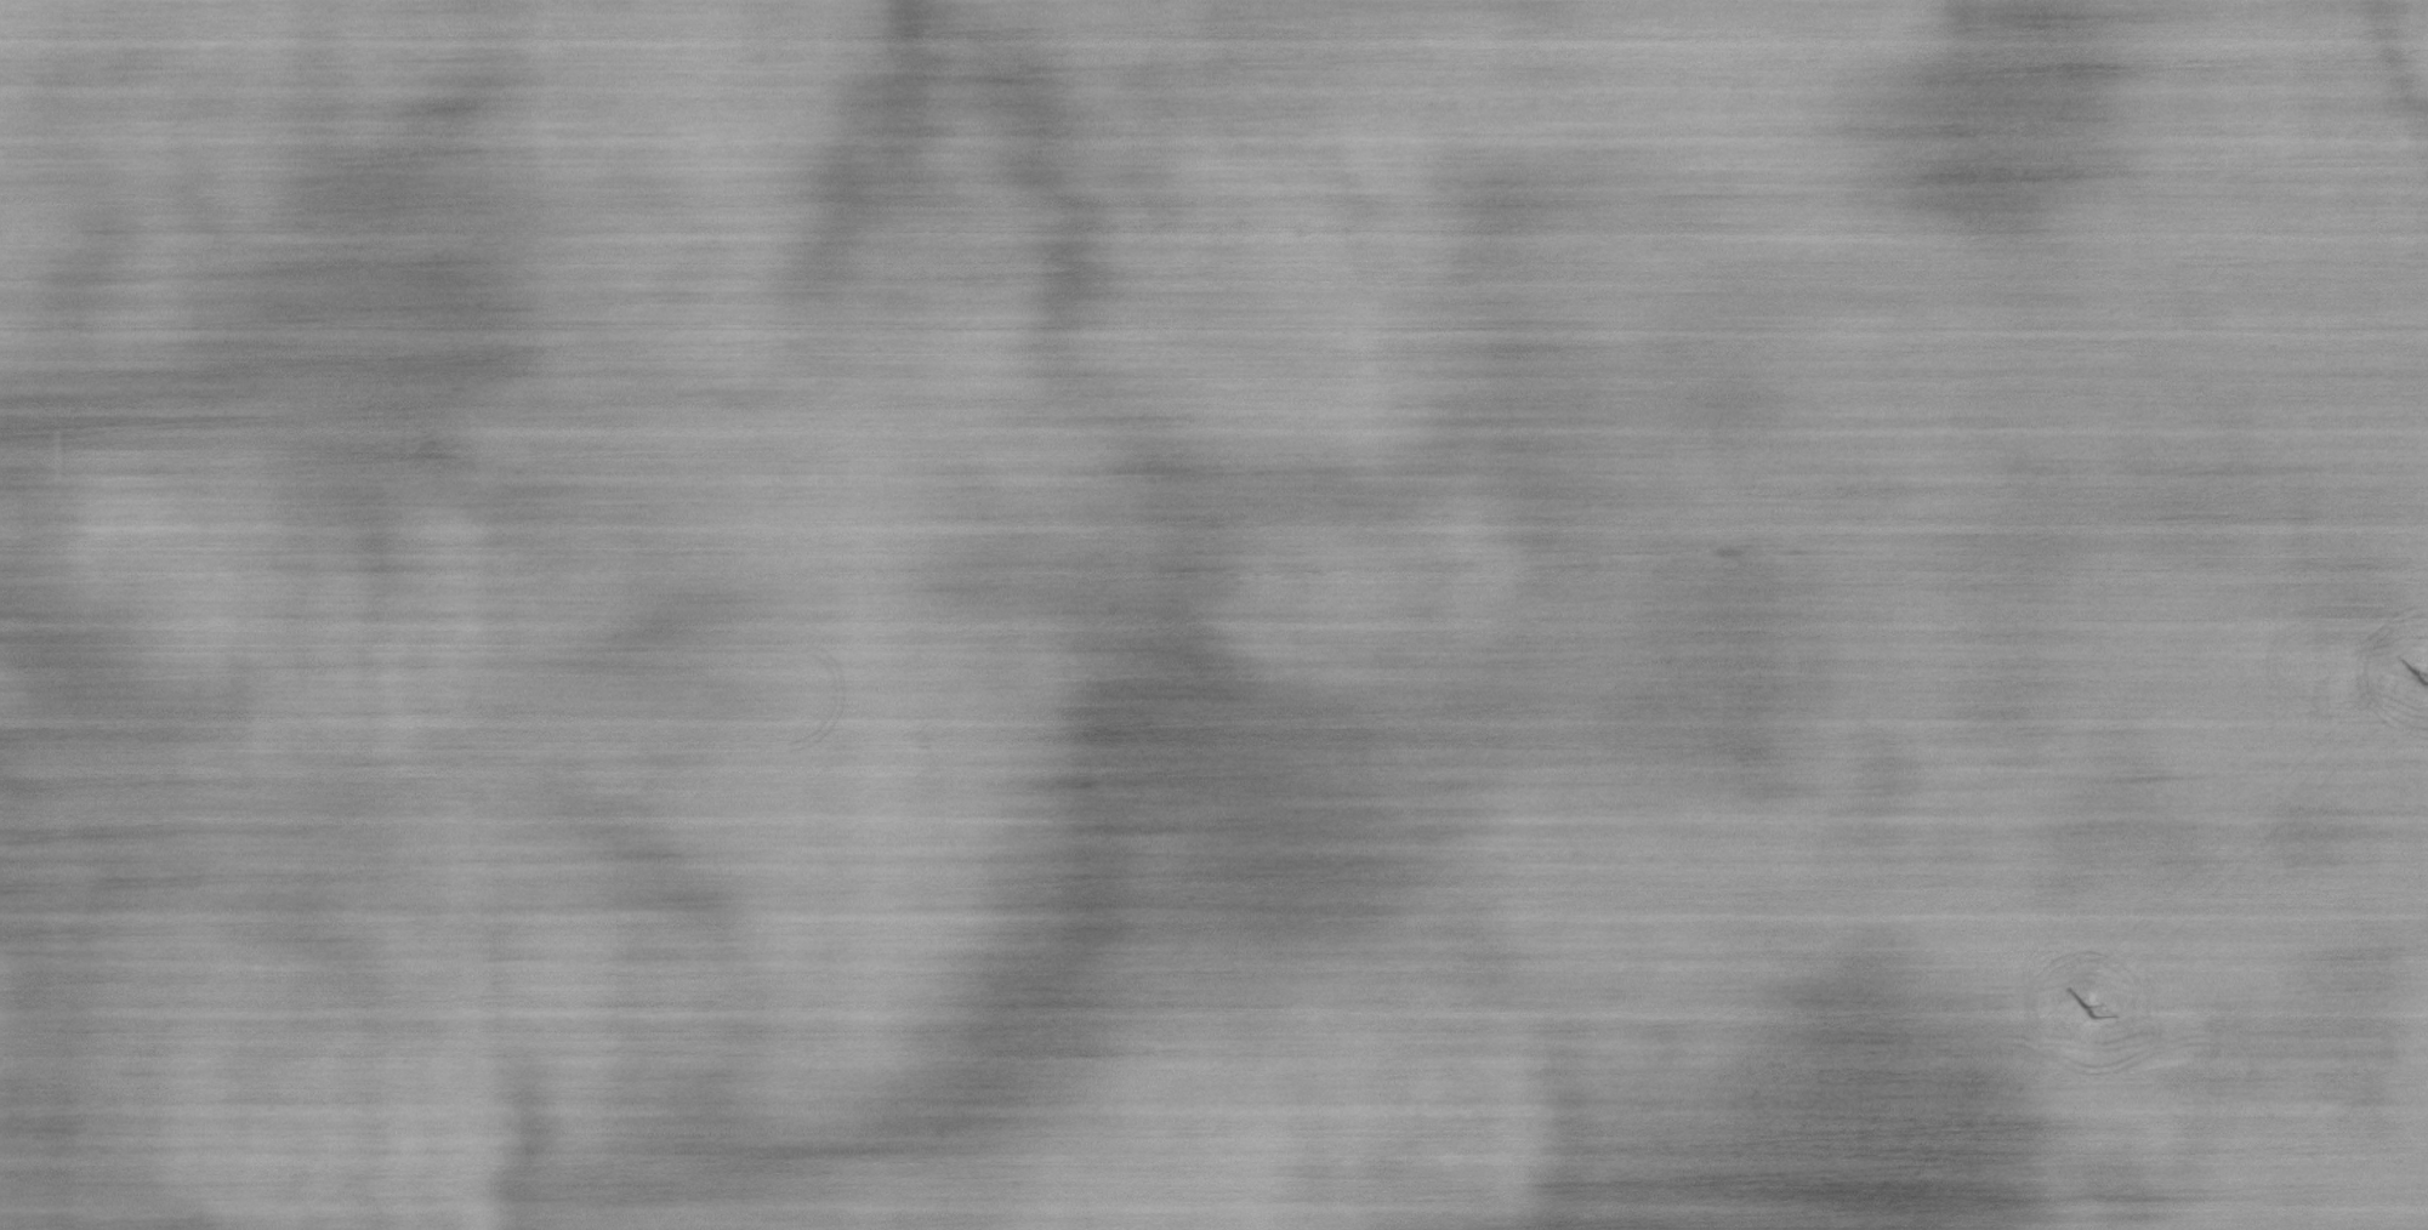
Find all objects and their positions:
power tower: (2421, 678)
power tower: (2087, 1009)

